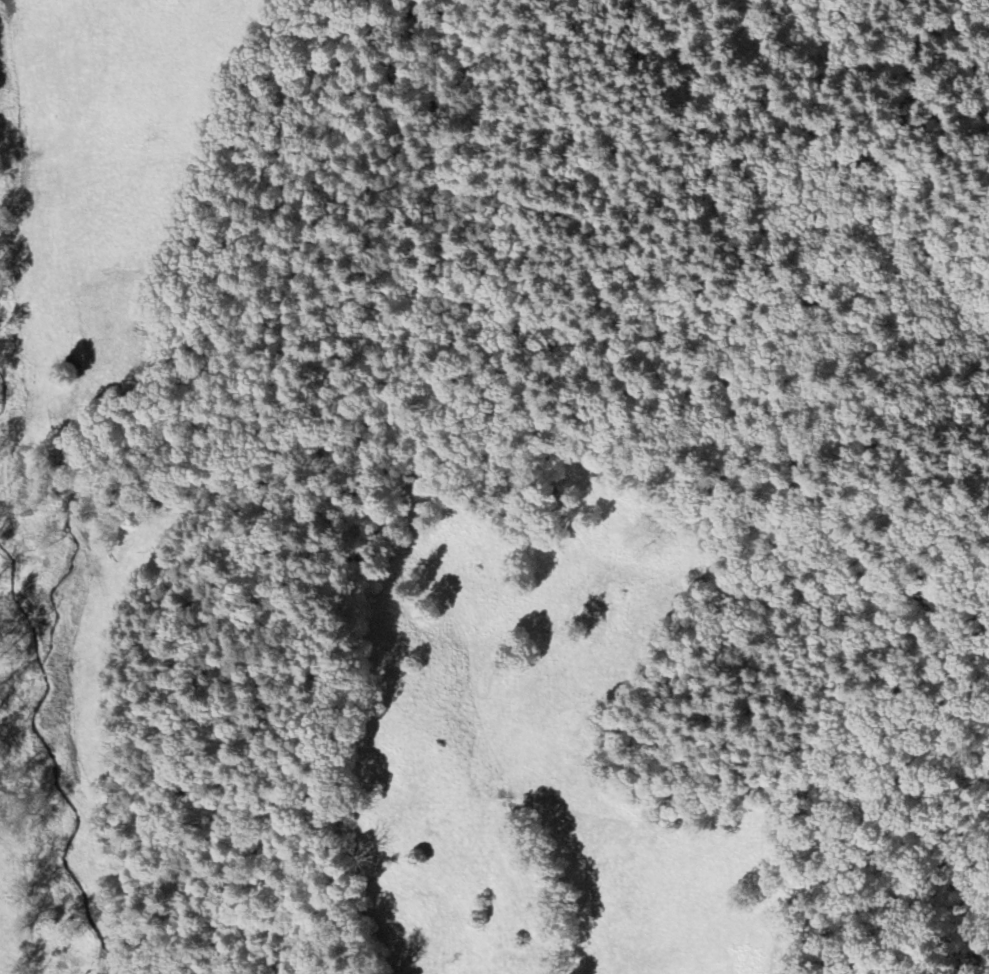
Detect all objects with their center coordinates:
crop: (554, 749)

